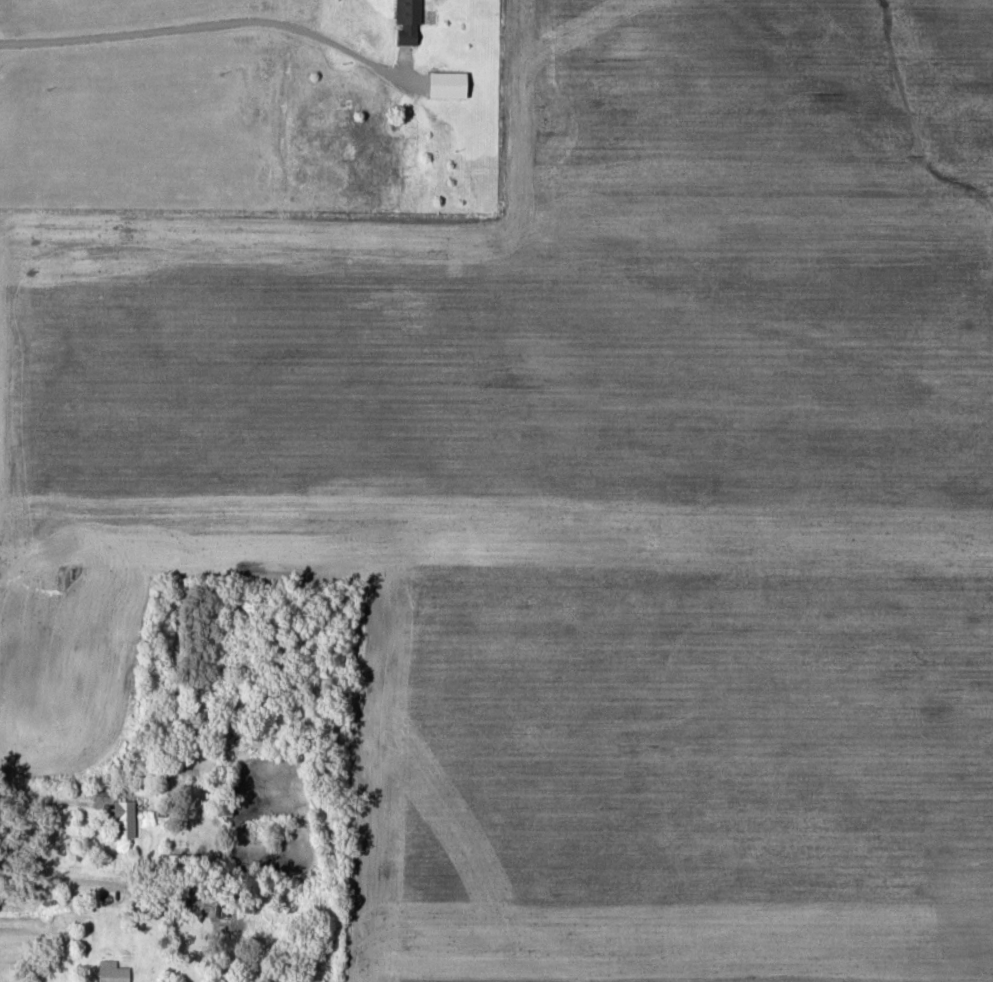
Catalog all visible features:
building: (411, 21)
building: (446, 83)
building: (335, 145)
building: (128, 823)
building: (182, 875)
building: (115, 971)

